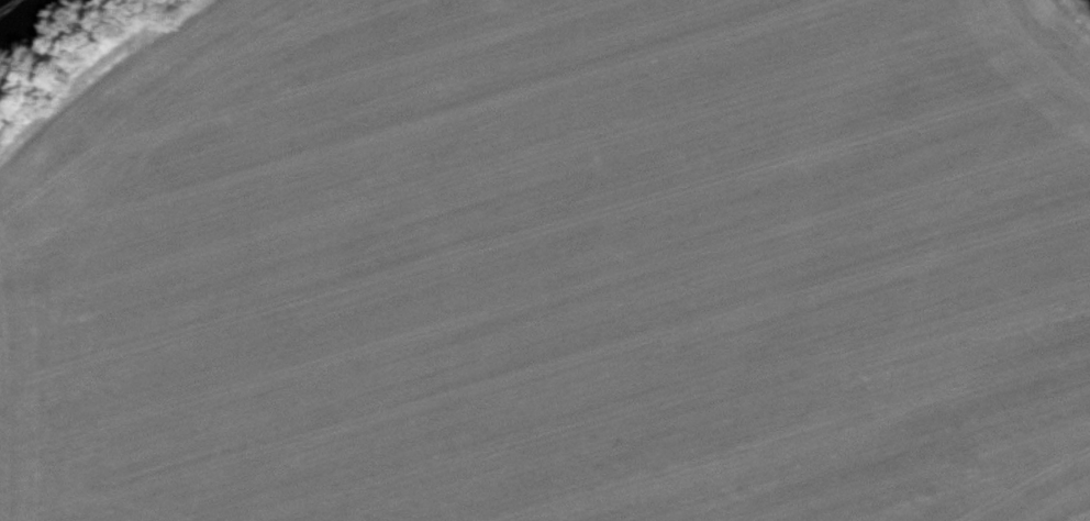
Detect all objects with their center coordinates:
crop: (564, 268)

